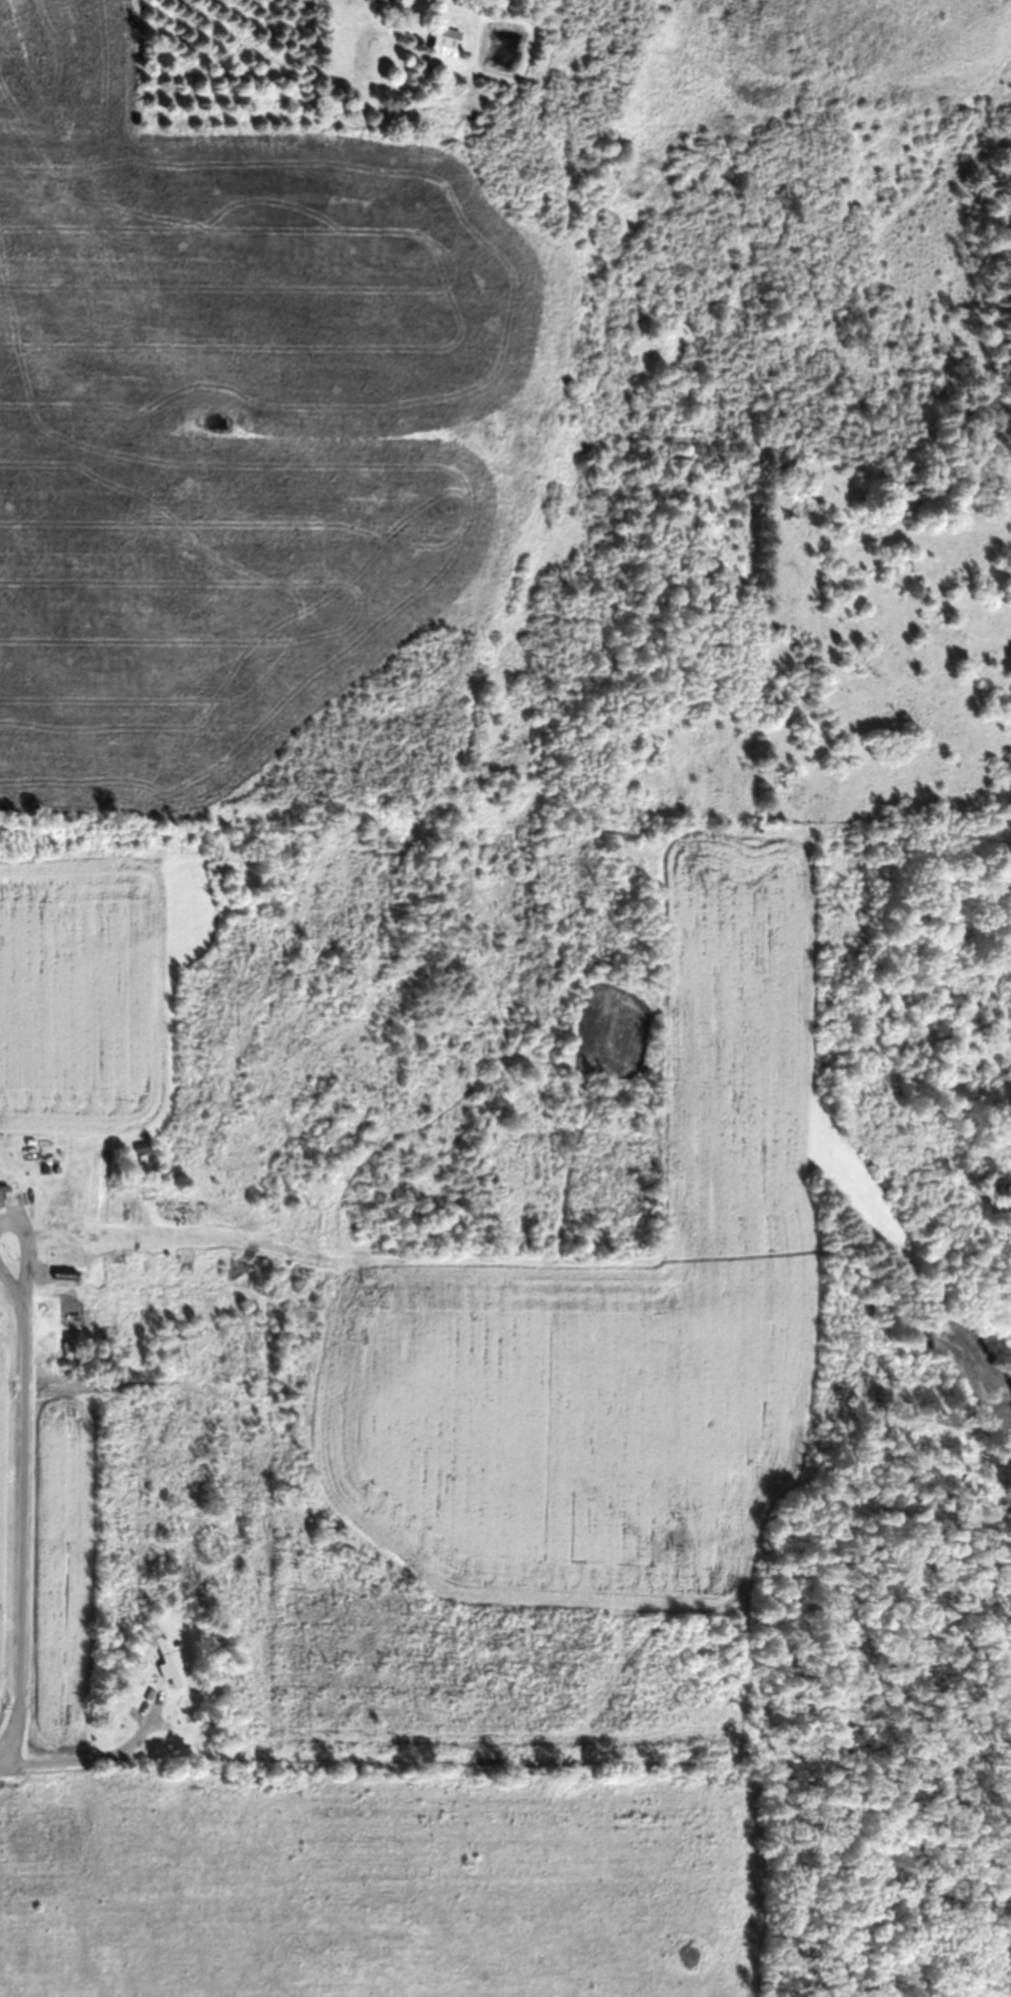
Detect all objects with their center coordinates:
building: (395, 1)
building: (444, 51)
building: (1, 1199)
road: (27, 1500)
building: (173, 1664)

